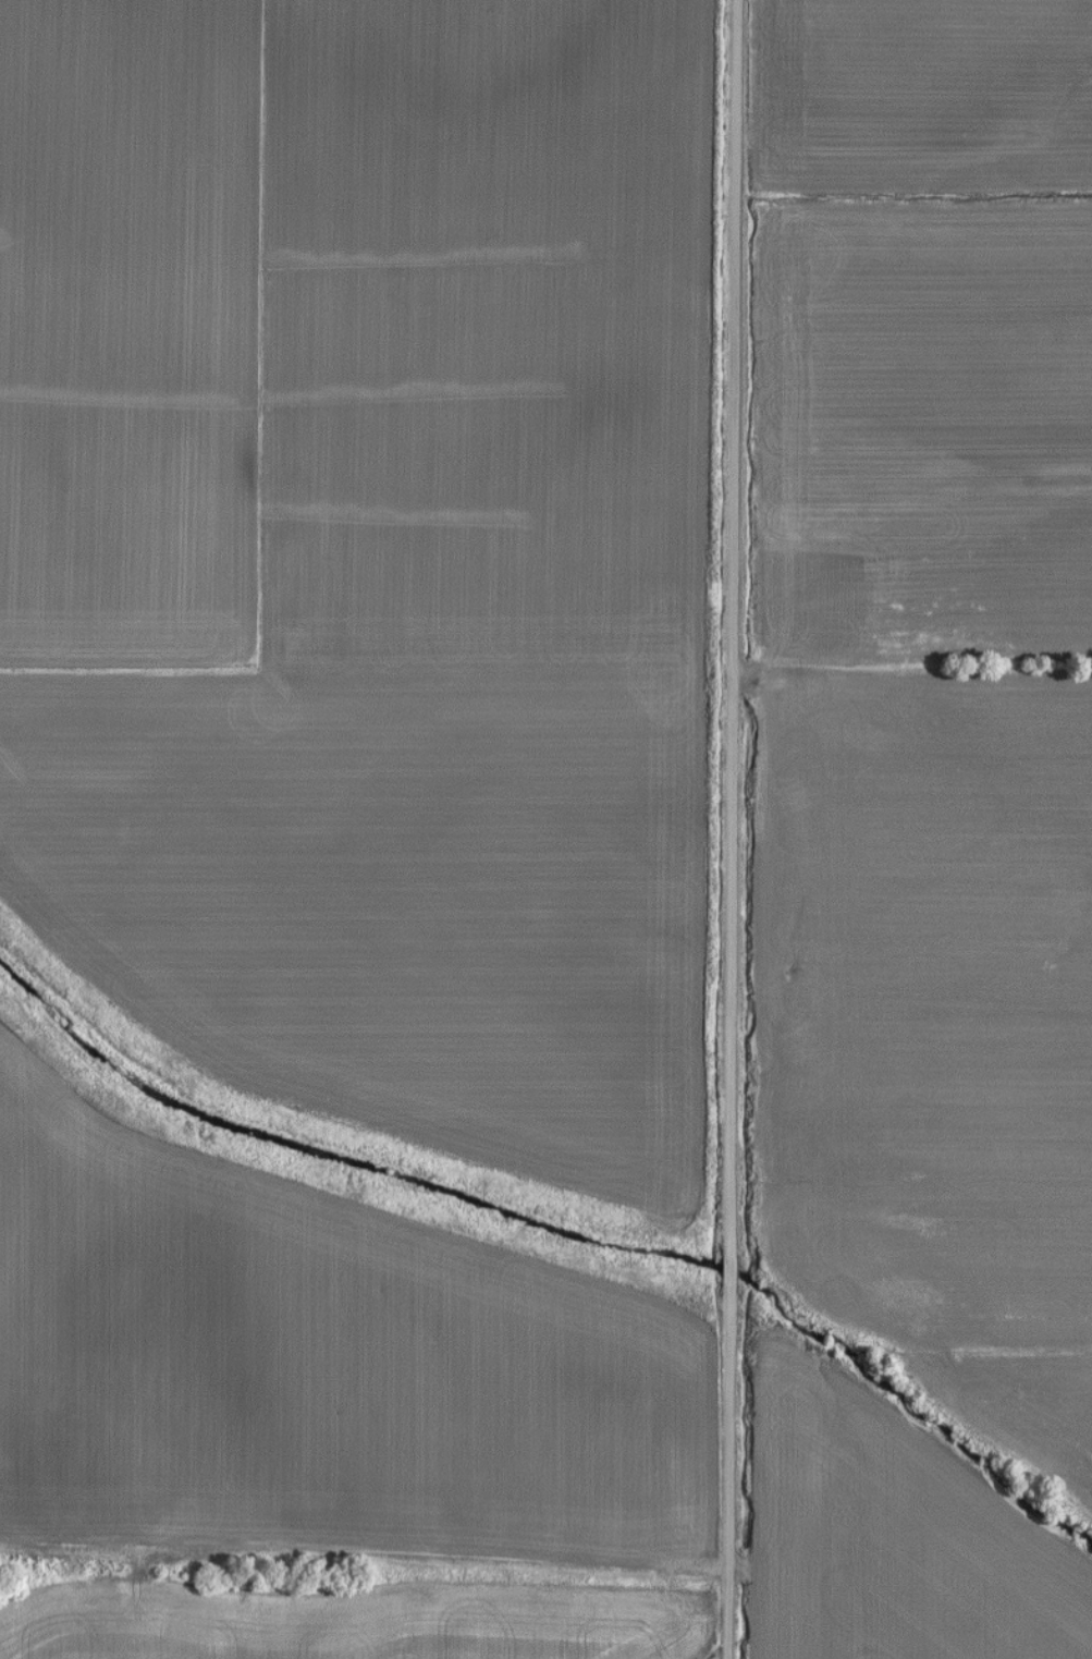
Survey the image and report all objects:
road: (736, 829)

